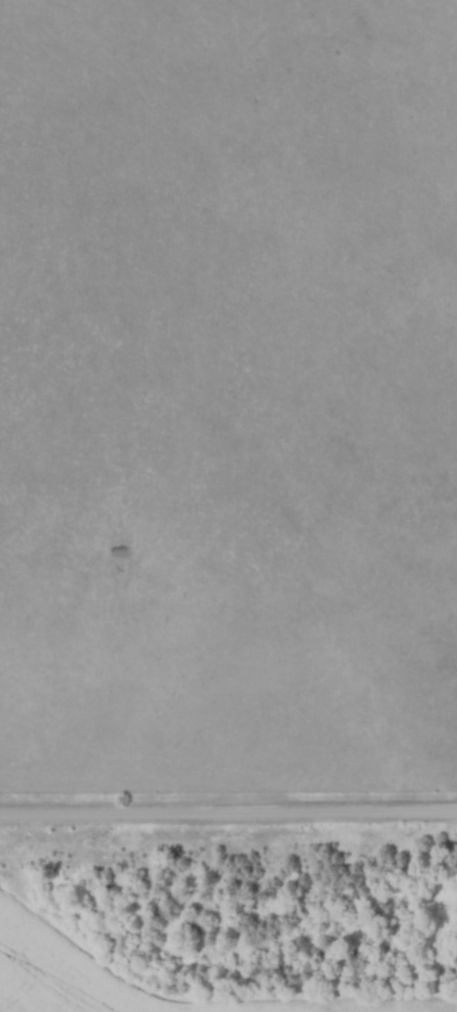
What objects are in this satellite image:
road: (228, 818)

